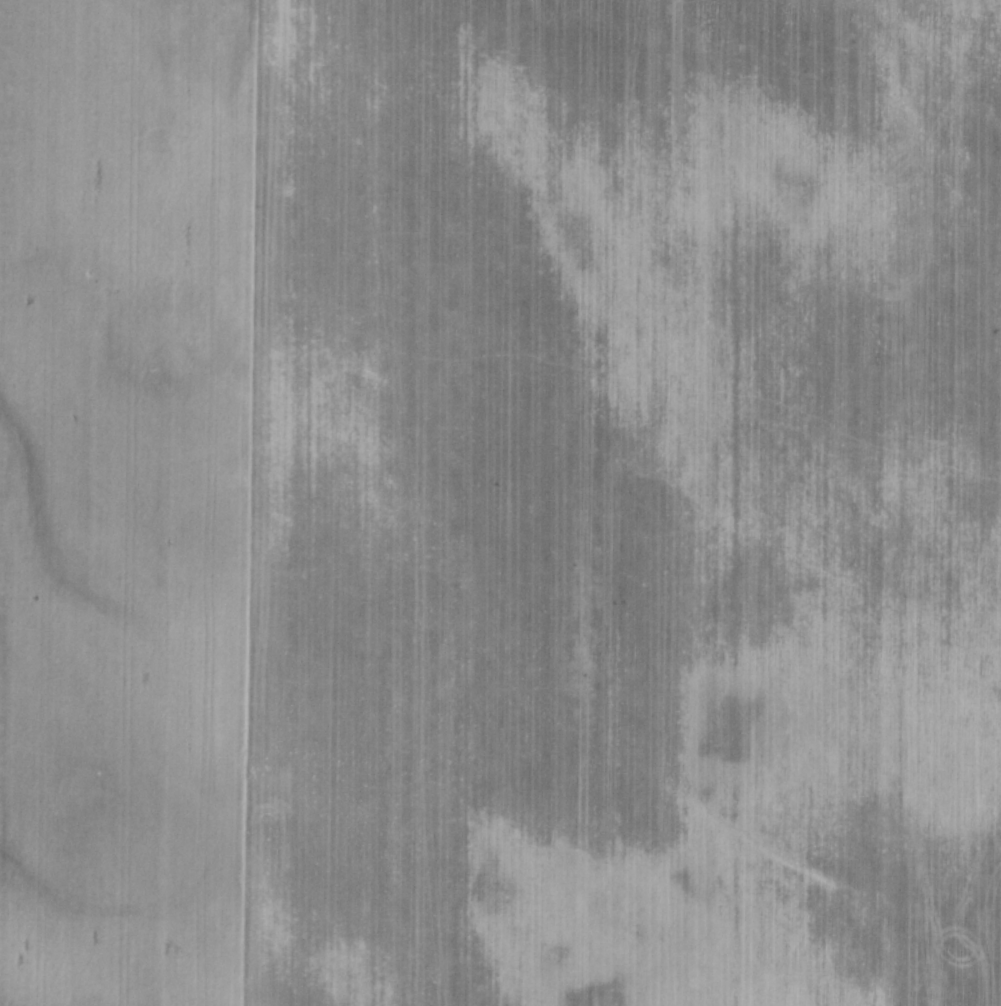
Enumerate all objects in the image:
crop: (500, 503)

